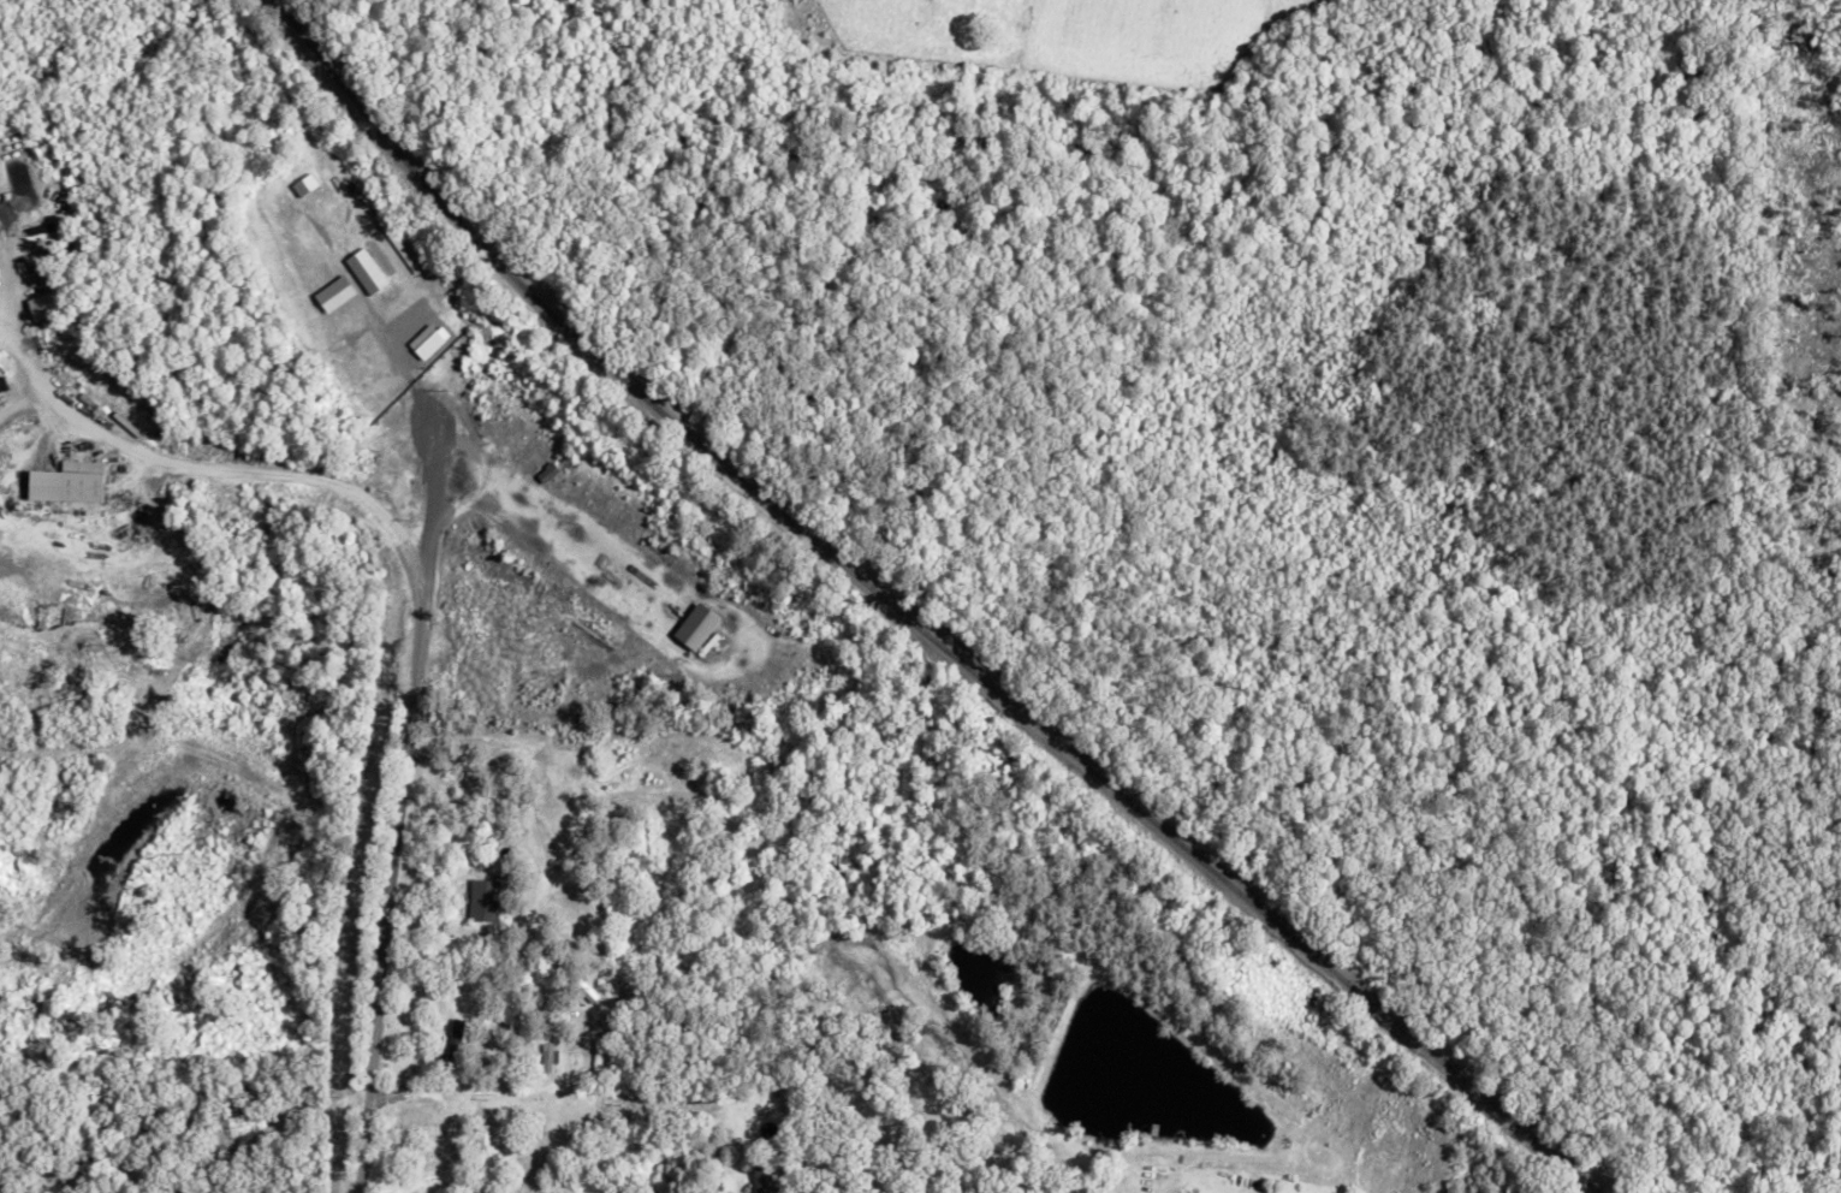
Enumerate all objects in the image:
building: (304, 185)
building: (364, 272)
building: (334, 293)
road: (292, 473)
building: (546, 473)
building: (66, 483)
railway: (916, 617)
building: (696, 627)
road: (380, 855)
building: (482, 901)
building: (453, 1037)
building: (547, 1056)
road: (510, 1066)
building: (493, 1138)

